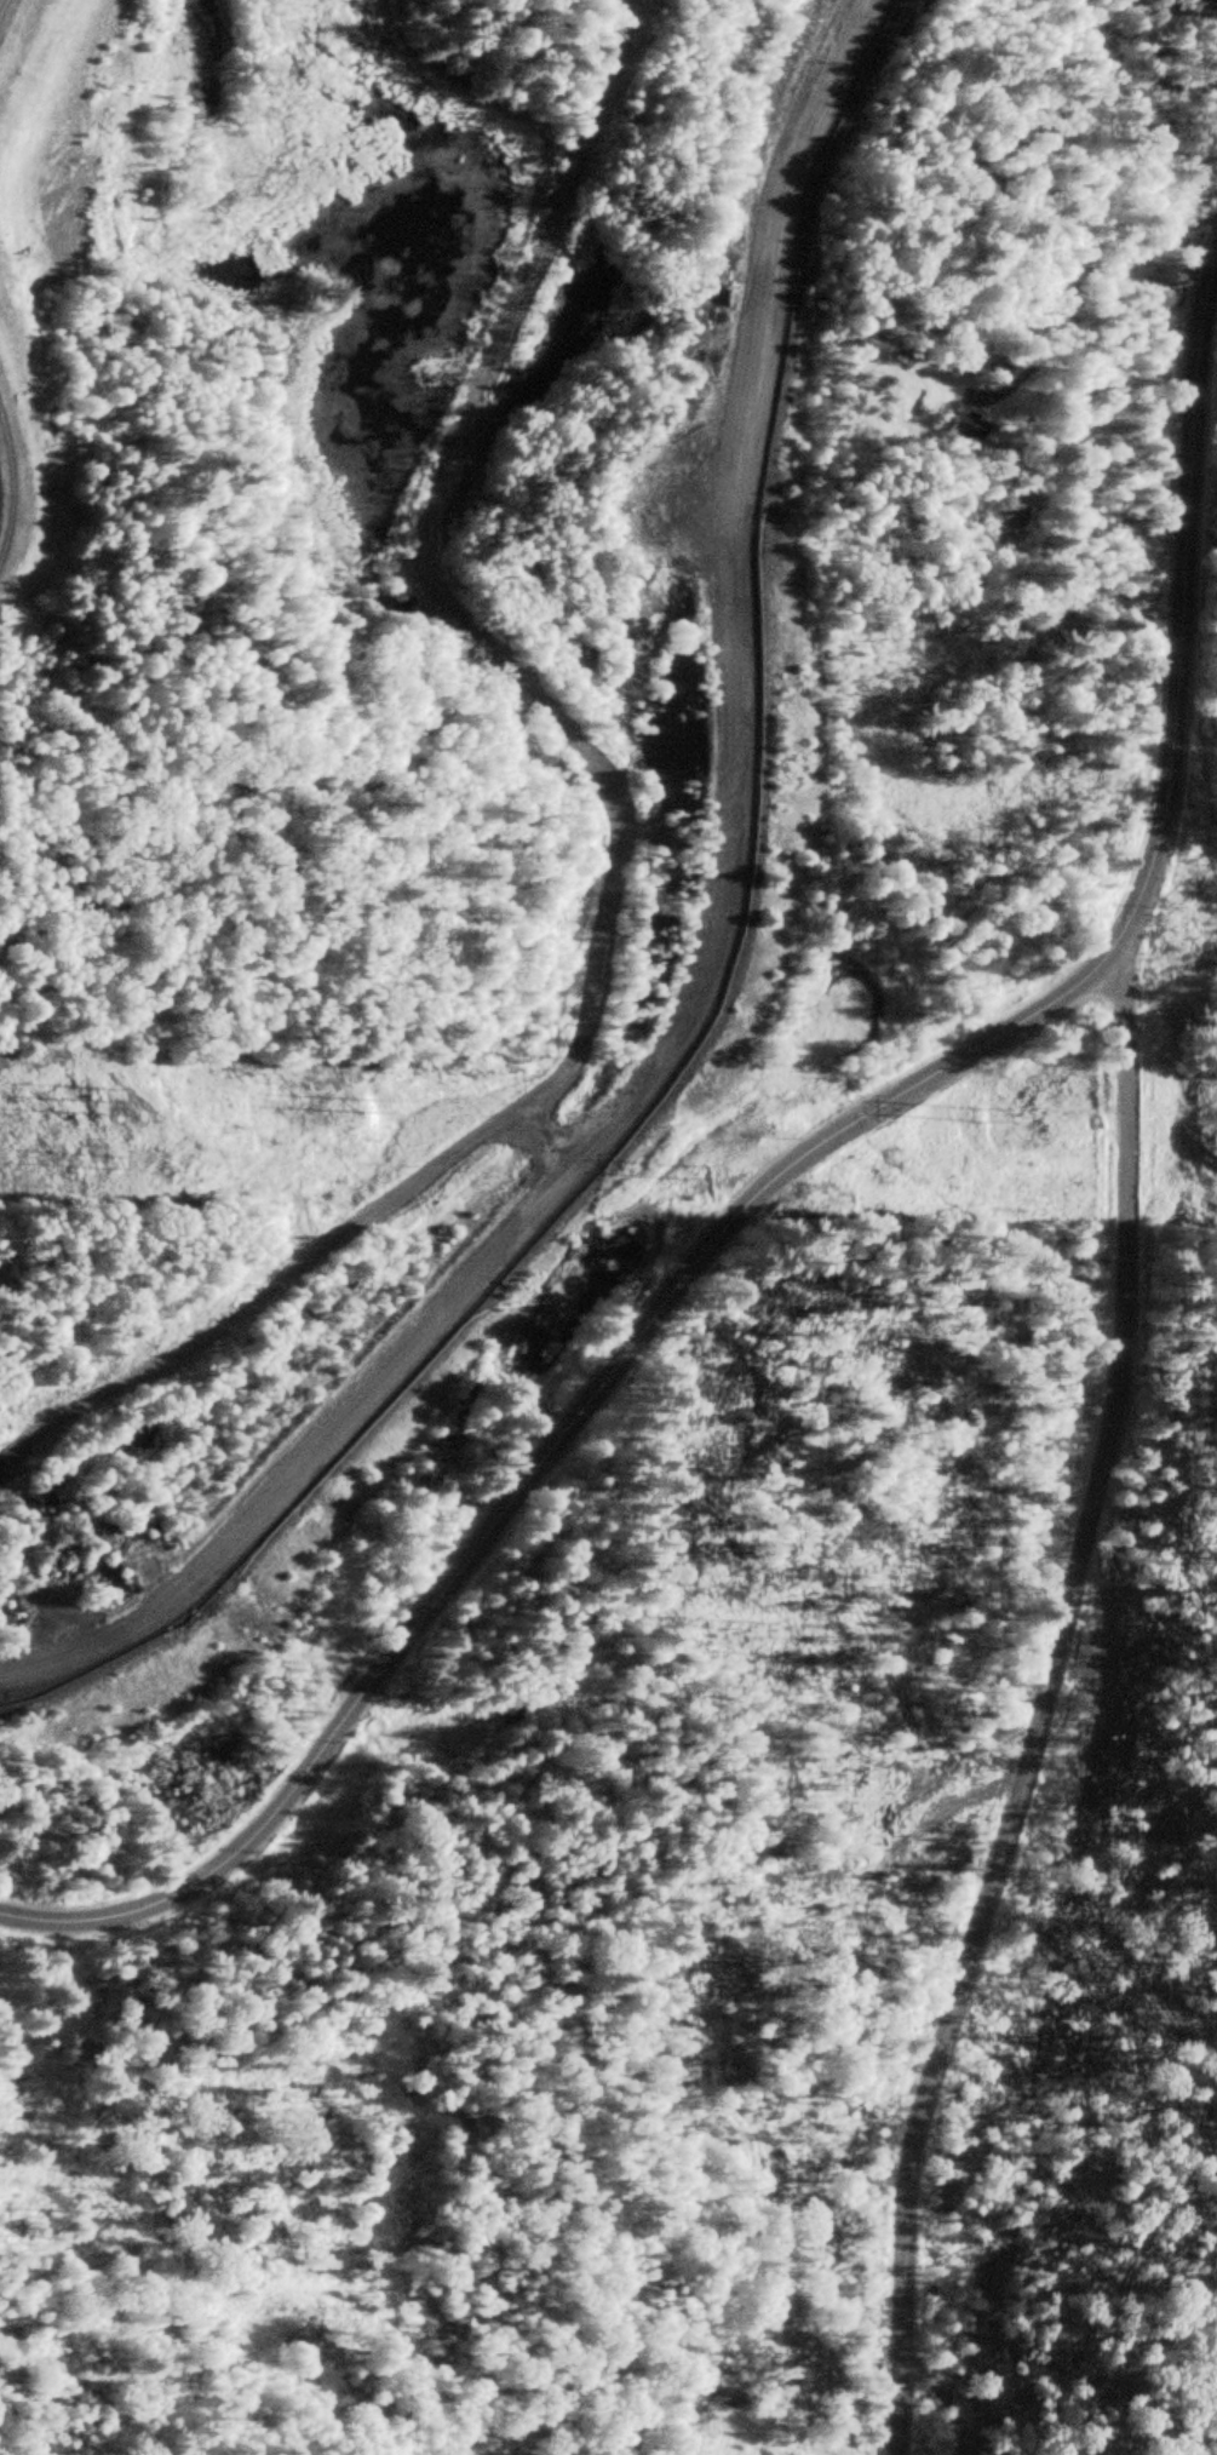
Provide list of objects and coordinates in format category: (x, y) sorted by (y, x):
road: (1080, 254)
road: (1023, 506)
road: (618, 894)
road: (702, 1008)
road: (779, 1160)
road: (1039, 1692)
road: (13, 1866)
road: (931, 2397)

